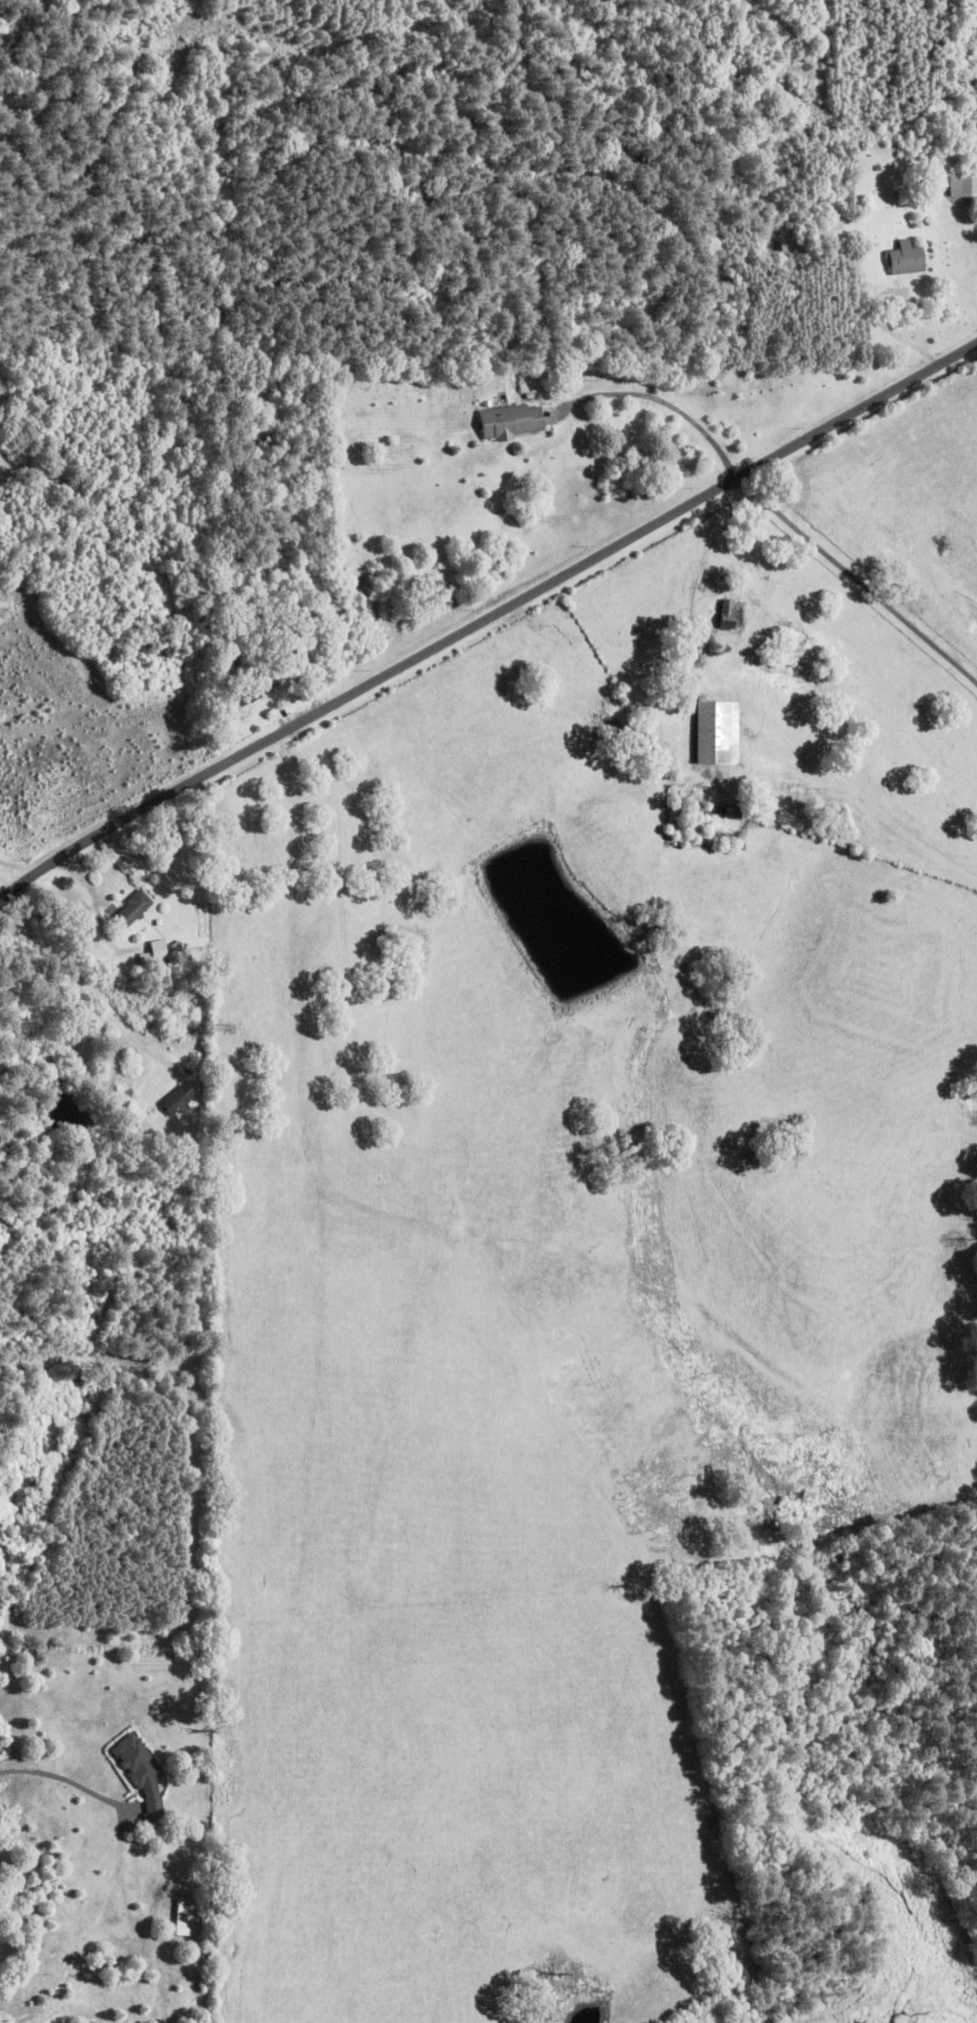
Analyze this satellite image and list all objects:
building: (967, 82)
building: (963, 185)
building: (907, 260)
building: (511, 422)
building: (727, 615)
road: (485, 620)
building: (233, 658)
building: (252, 690)
building: (717, 733)
building: (133, 911)
building: (156, 955)
building: (178, 1100)
building: (142, 1775)

